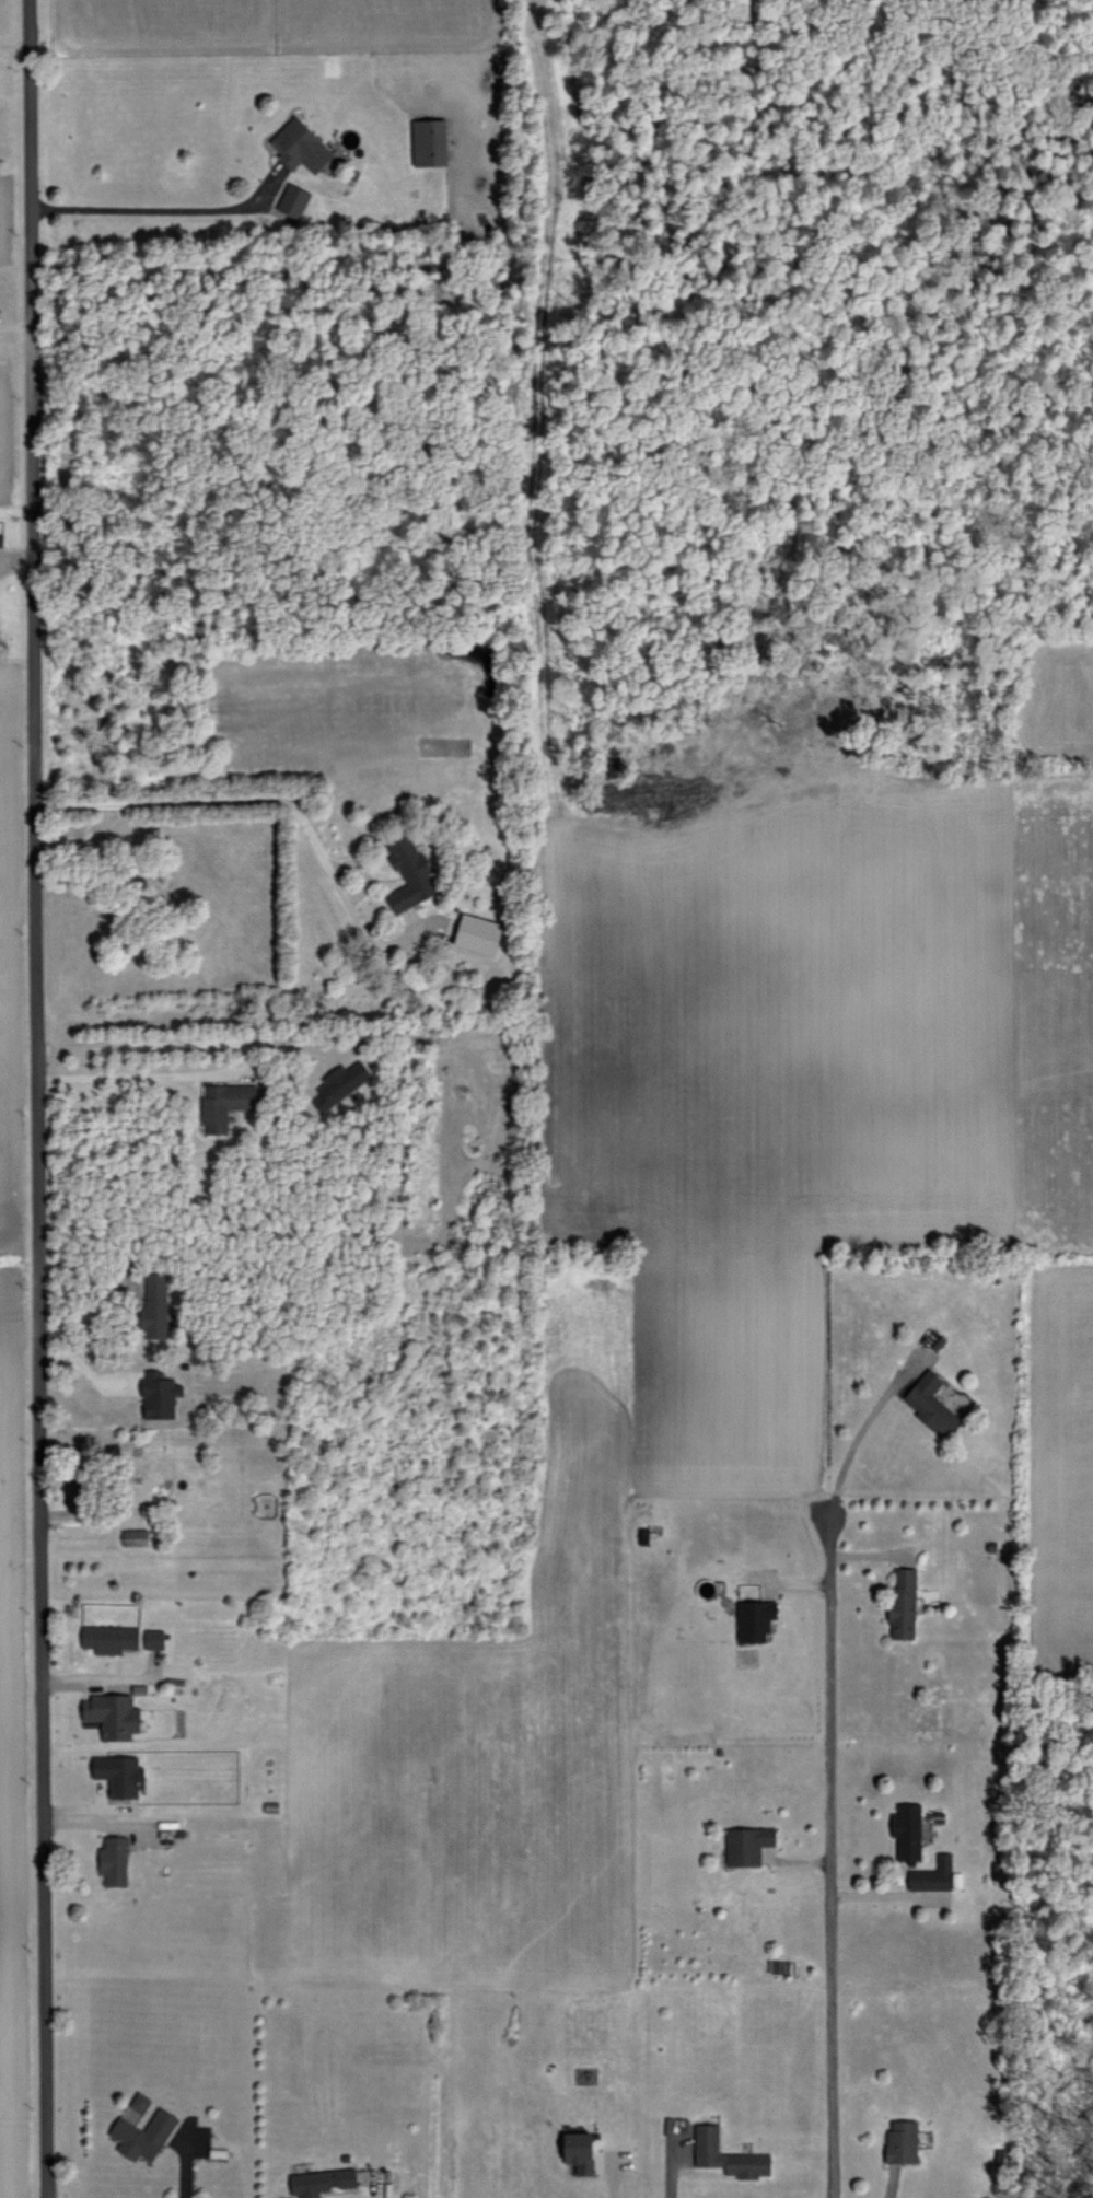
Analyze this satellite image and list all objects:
road: (14, 54)
building: (430, 143)
building: (301, 147)
building: (293, 200)
road: (154, 209)
building: (1, 539)
road: (269, 799)
building: (411, 874)
building: (479, 934)
road: (131, 1075)
building: (340, 1084)
road: (40, 1098)
building: (225, 1105)
building: (155, 1305)
building: (160, 1395)
building: (931, 1404)
building: (78, 1489)
building: (136, 1537)
building: (904, 1605)
building: (756, 1620)
building: (109, 1638)
building: (154, 1639)
road: (100, 1677)
building: (113, 1714)
building: (120, 1775)
building: (908, 1830)
building: (747, 1845)
road: (830, 1858)
building: (114, 1860)
building: (932, 1875)
building: (140, 2102)
building: (144, 2135)
building: (903, 2141)
building: (580, 2151)
building: (728, 2155)
building: (322, 2182)

